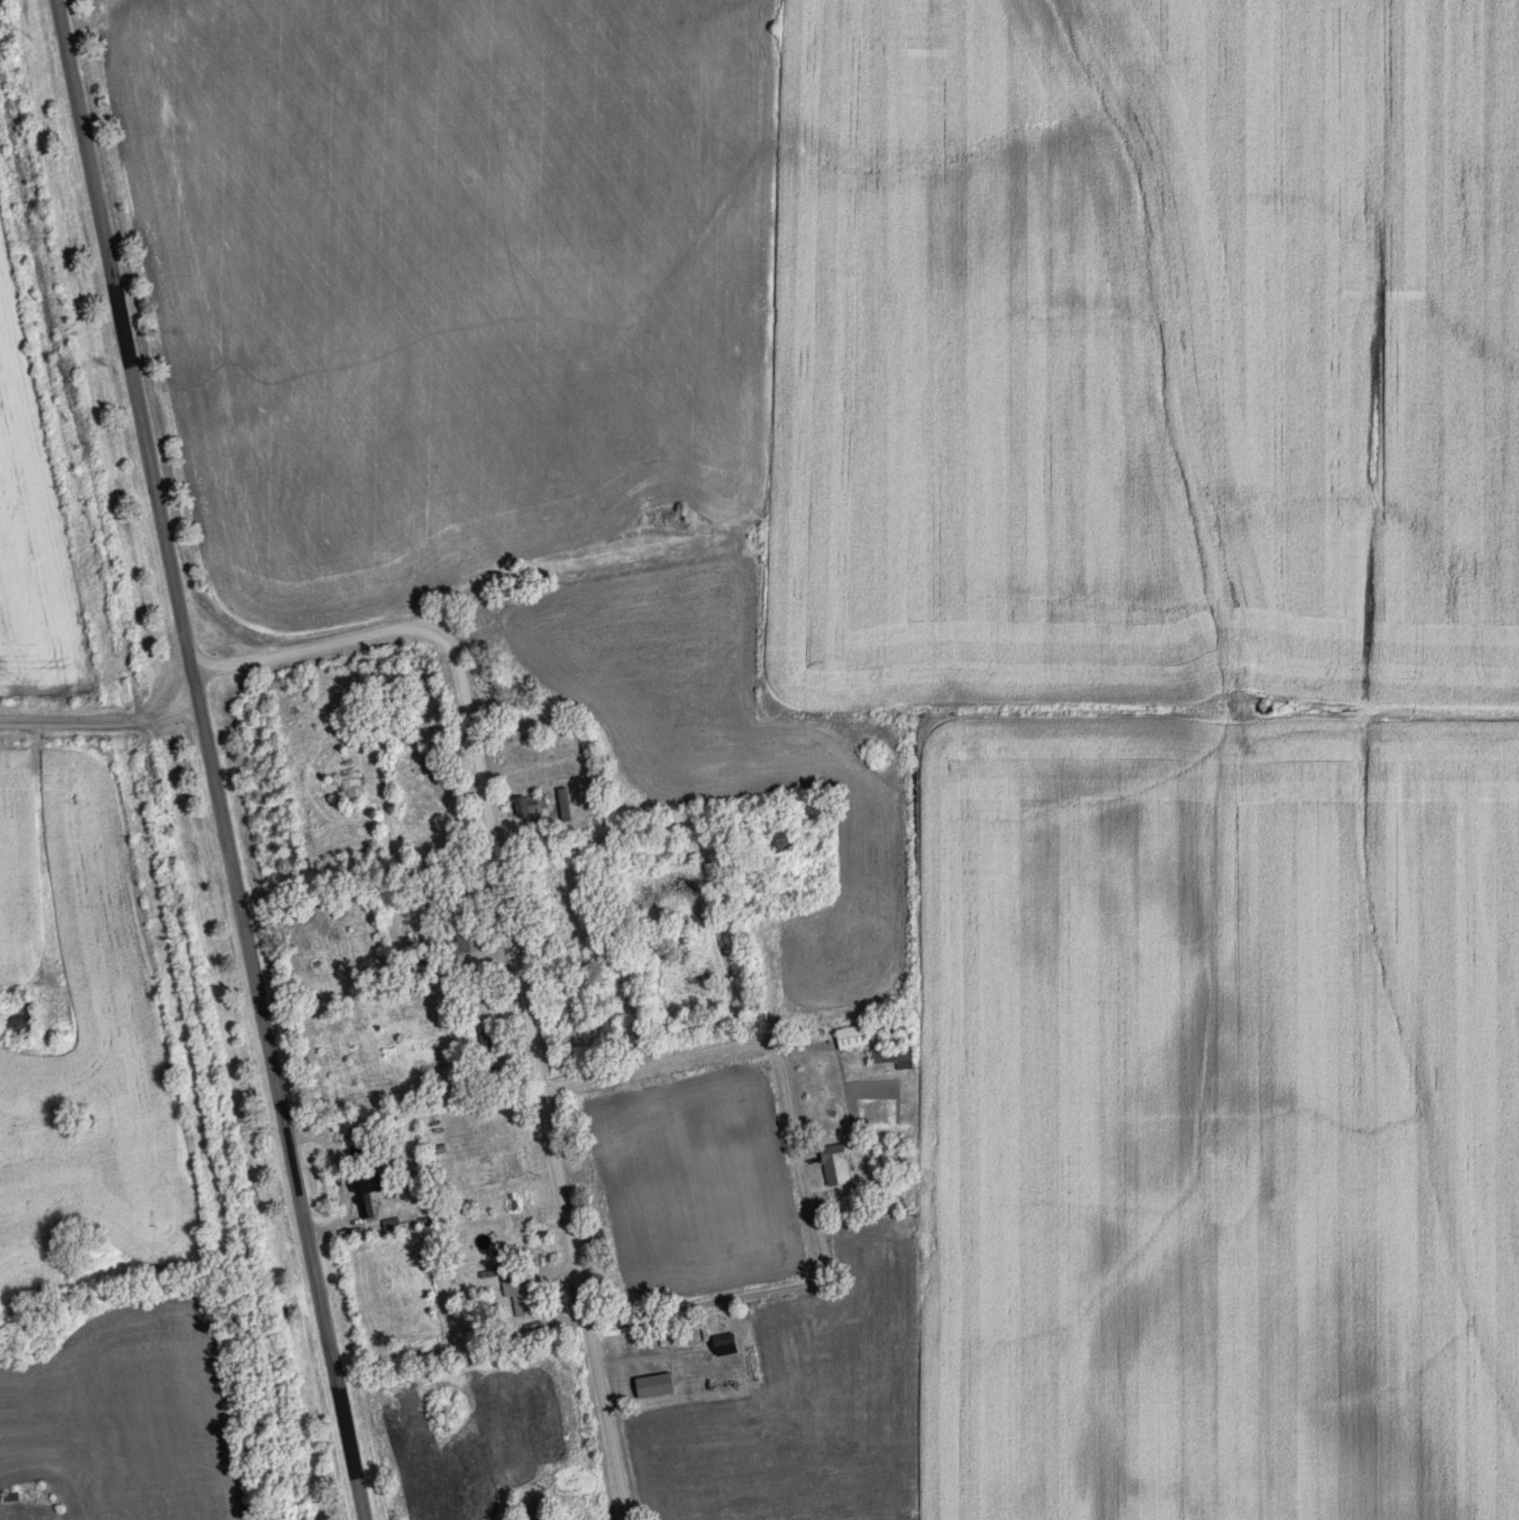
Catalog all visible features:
road: (107, 724)
road: (211, 759)
building: (349, 783)
building: (530, 803)
building: (777, 840)
building: (464, 938)
road: (513, 952)
building: (17, 1018)
building: (891, 1026)
road: (773, 1030)
building: (851, 1036)
building: (486, 1048)
building: (889, 1056)
road: (657, 1069)
building: (378, 1157)
building: (834, 1164)
building: (363, 1198)
building: (391, 1226)
building: (594, 1240)
building: (521, 1295)
building: (724, 1343)
building: (653, 1385)
road: (777, 1503)

